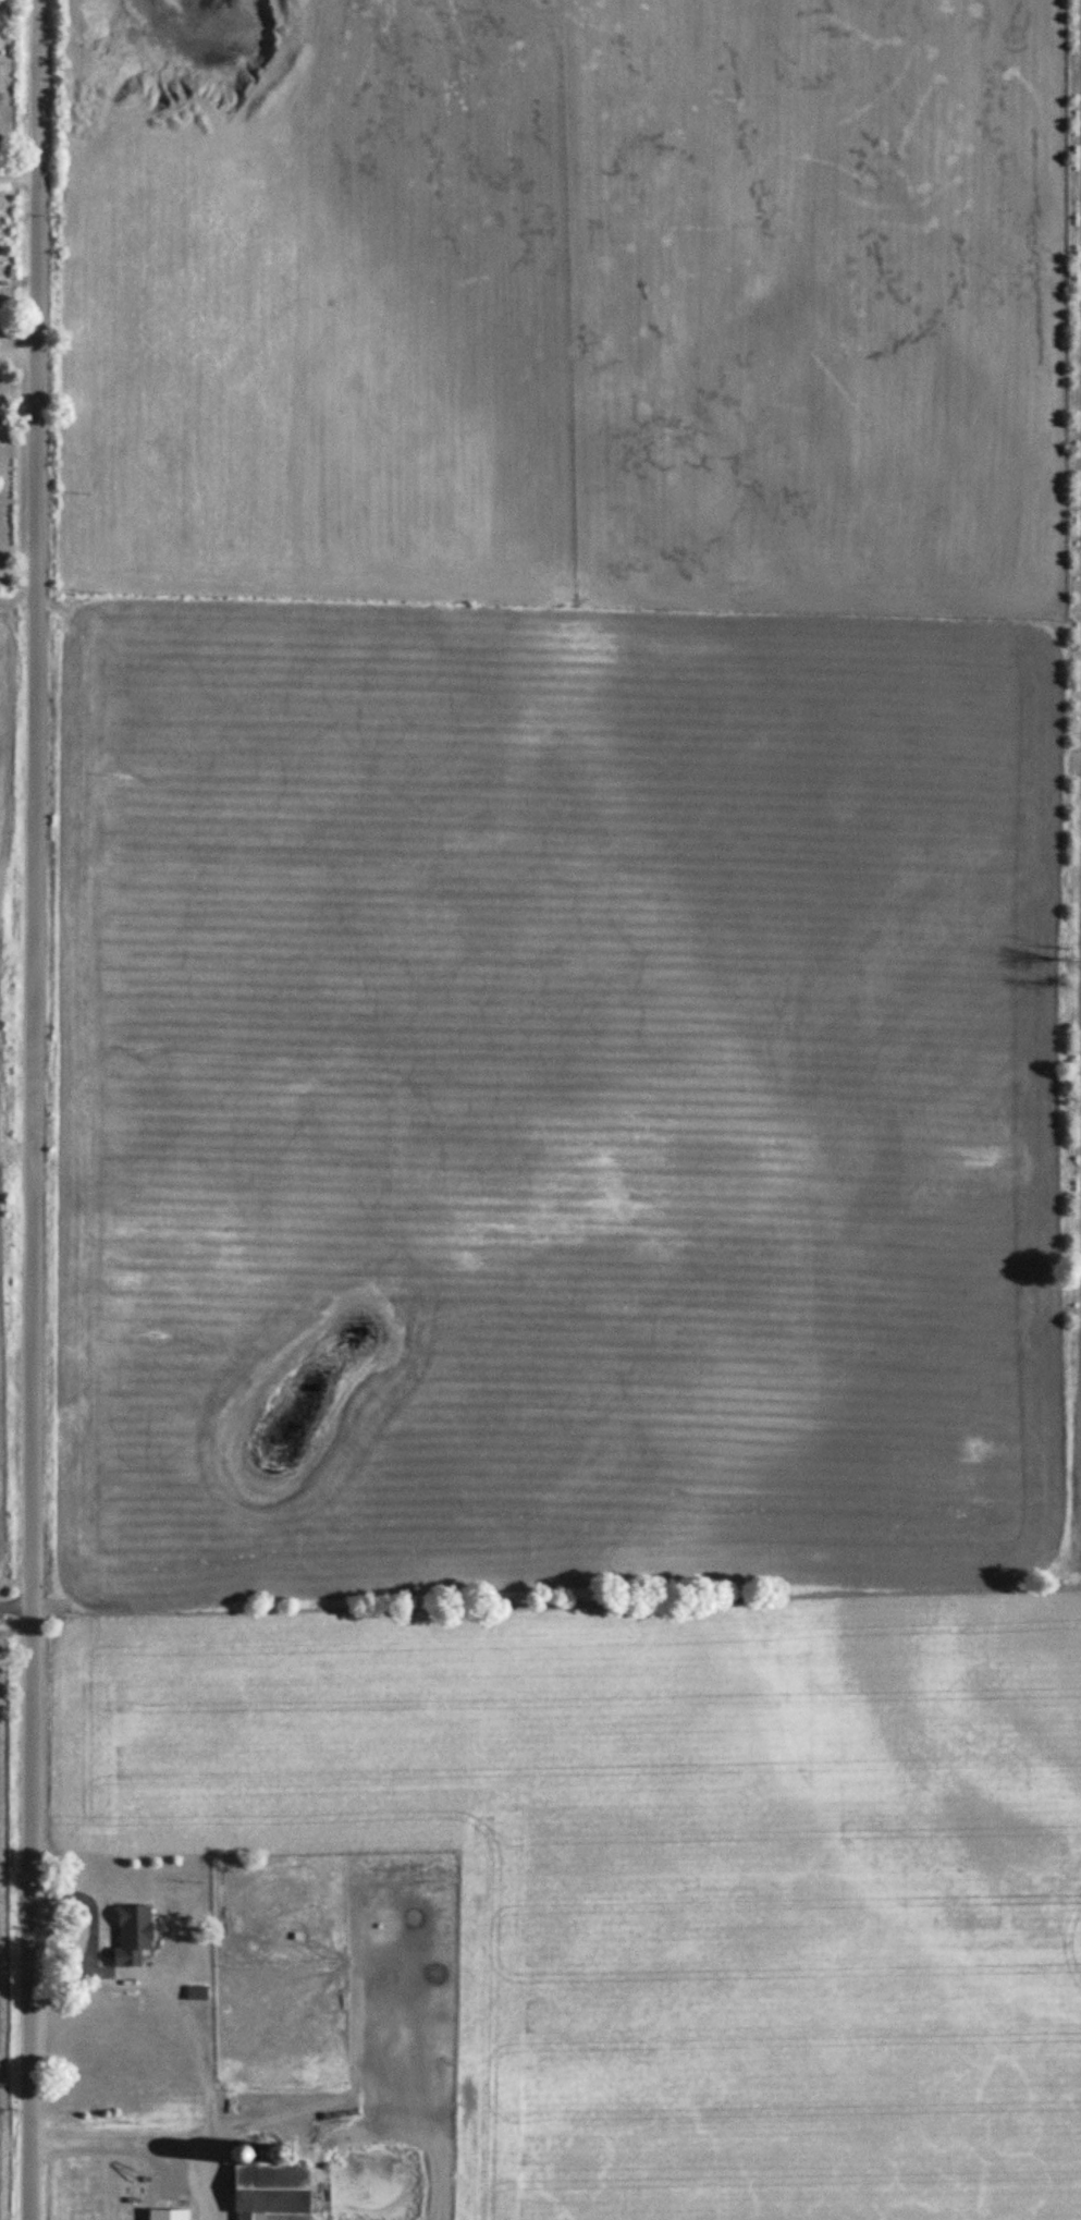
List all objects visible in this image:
road: (37, 1109)
building: (132, 1935)
building: (198, 1992)
building: (270, 2191)
building: (169, 2213)

